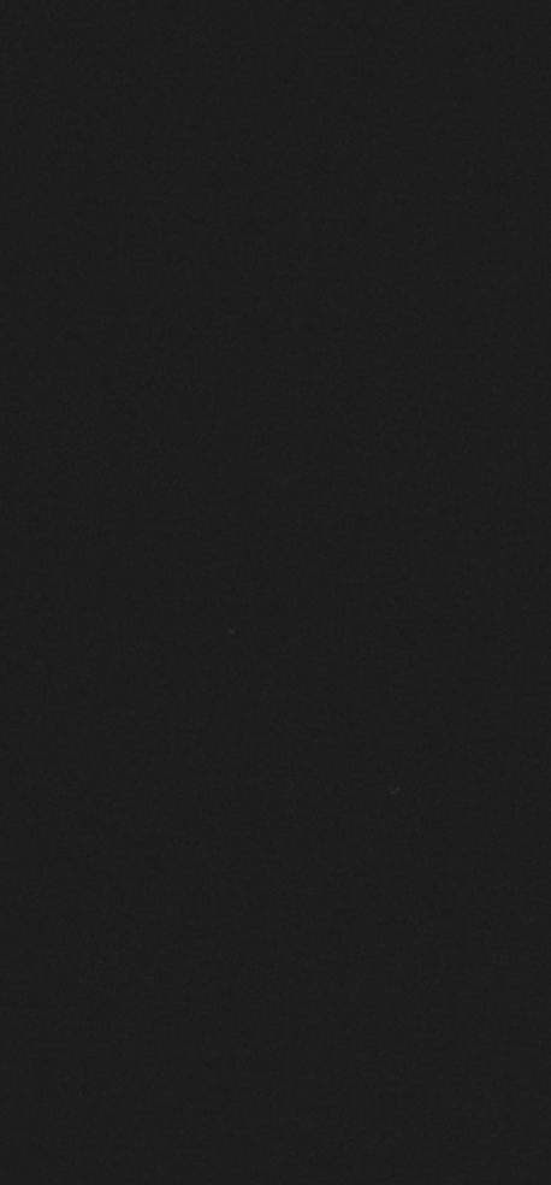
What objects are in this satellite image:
river: (275, 986)

